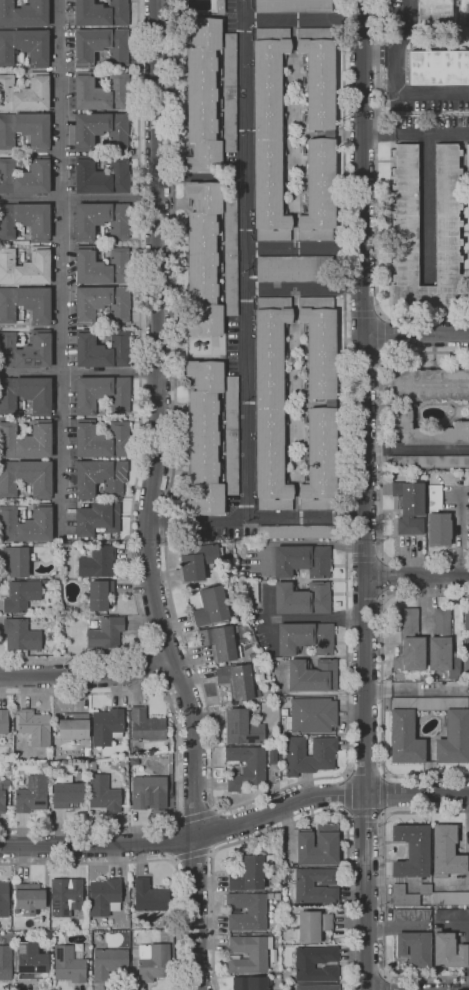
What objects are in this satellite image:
building: (220, 6)
building: (292, 6)
building: (433, 12)
building: (24, 13)
building: (100, 13)
building: (467, 14)
road: (303, 18)
road: (407, 27)
building: (100, 46)
building: (24, 47)
road: (389, 53)
road: (371, 54)
building: (438, 68)
building: (100, 92)
building: (25, 93)
building: (229, 93)
road: (413, 93)
building: (203, 95)
building: (101, 129)
building: (25, 130)
road: (378, 132)
road: (432, 132)
building: (269, 133)
building: (329, 134)
building: (467, 155)
building: (101, 175)
building: (25, 176)
road: (79, 197)
road: (376, 201)
building: (25, 220)
building: (101, 220)
building: (406, 233)
road: (303, 248)
building: (231, 256)
building: (203, 260)
building: (24, 266)
building: (102, 266)
road: (60, 267)
building: (296, 269)
road: (304, 288)
building: (102, 303)
building: (25, 304)
road: (363, 314)
road: (247, 315)
road: (415, 334)
road: (384, 335)
building: (320, 345)
building: (25, 350)
building: (102, 350)
road: (79, 370)
building: (429, 385)
building: (26, 394)
building: (102, 394)
road: (141, 398)
building: (270, 403)
building: (331, 403)
building: (426, 431)
building: (232, 435)
building: (204, 438)
building: (102, 440)
building: (26, 441)
road: (416, 449)
road: (381, 455)
building: (320, 461)
building: (429, 461)
building: (25, 478)
building: (100, 478)
road: (363, 495)
road: (154, 498)
building: (435, 499)
building: (409, 505)
building: (97, 519)
road: (200, 521)
building: (26, 524)
building: (438, 529)
building: (294, 532)
road: (365, 558)
building: (198, 560)
building: (302, 560)
building: (16, 561)
building: (97, 561)
road: (416, 576)
road: (385, 577)
building: (45, 581)
building: (250, 592)
building: (101, 595)
building: (21, 596)
building: (302, 598)
building: (210, 606)
building: (68, 611)
building: (65, 620)
building: (410, 622)
building: (442, 622)
building: (106, 633)
building: (21, 636)
building: (466, 637)
building: (305, 638)
building: (220, 643)
building: (410, 655)
building: (254, 657)
building: (442, 657)
road: (151, 666)
road: (86, 670)
building: (312, 675)
building: (422, 676)
building: (236, 681)
road: (382, 685)
building: (429, 703)
building: (312, 715)
building: (14, 719)
building: (4, 721)
building: (146, 725)
building: (73, 726)
building: (107, 726)
building: (35, 727)
building: (242, 728)
building: (405, 738)
building: (454, 738)
building: (272, 756)
road: (177, 757)
building: (133, 761)
building: (309, 762)
building: (44, 765)
building: (91, 766)
building: (246, 767)
building: (66, 792)
building: (148, 792)
building: (3, 794)
building: (103, 794)
road: (345, 794)
building: (32, 795)
road: (386, 795)
road: (261, 797)
road: (216, 808)
road: (365, 815)
road: (197, 816)
road: (177, 819)
road: (236, 824)
building: (317, 845)
building: (412, 850)
road: (212, 851)
road: (214, 852)
building: (446, 852)
road: (194, 854)
road: (151, 859)
road: (176, 860)
building: (249, 872)
building: (398, 880)
building: (301, 885)
building: (425, 889)
road: (384, 894)
building: (65, 896)
building: (150, 896)
building: (270, 896)
building: (402, 896)
building: (104, 897)
building: (29, 898)
building: (450, 898)
building: (4, 900)
road: (348, 902)
building: (247, 911)
building: (411, 914)
building: (452, 914)
building: (311, 925)
road: (457, 925)
building: (63, 932)
building: (47, 936)
building: (414, 949)
building: (447, 950)
building: (248, 954)
building: (30, 961)
building: (153, 962)
building: (5, 963)
building: (109, 963)
building: (315, 963)
building: (68, 965)
road: (385, 976)
building: (250, 983)
road: (384, 983)
building: (316, 987)

